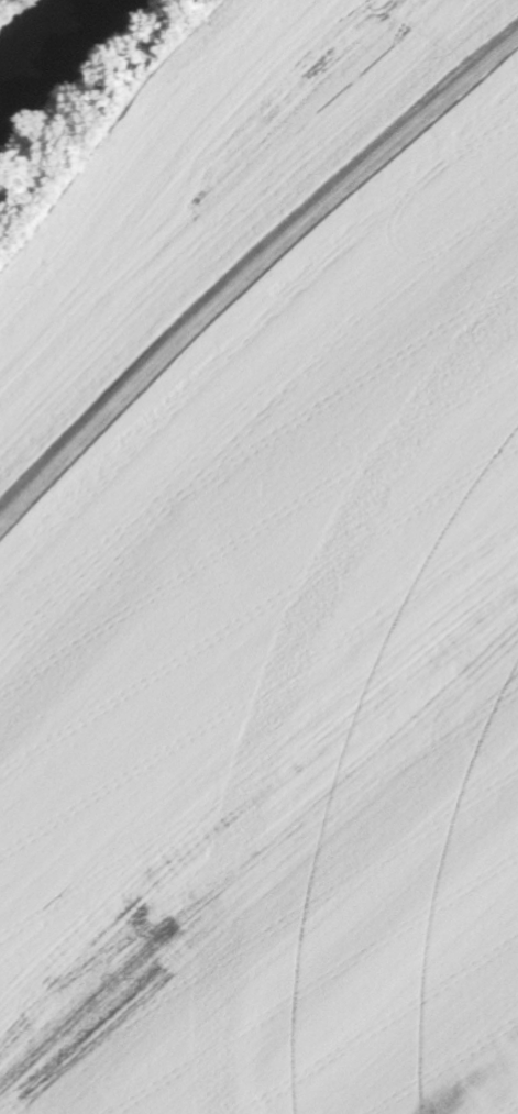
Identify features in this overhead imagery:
river: (37, 41)
road: (503, 1101)

